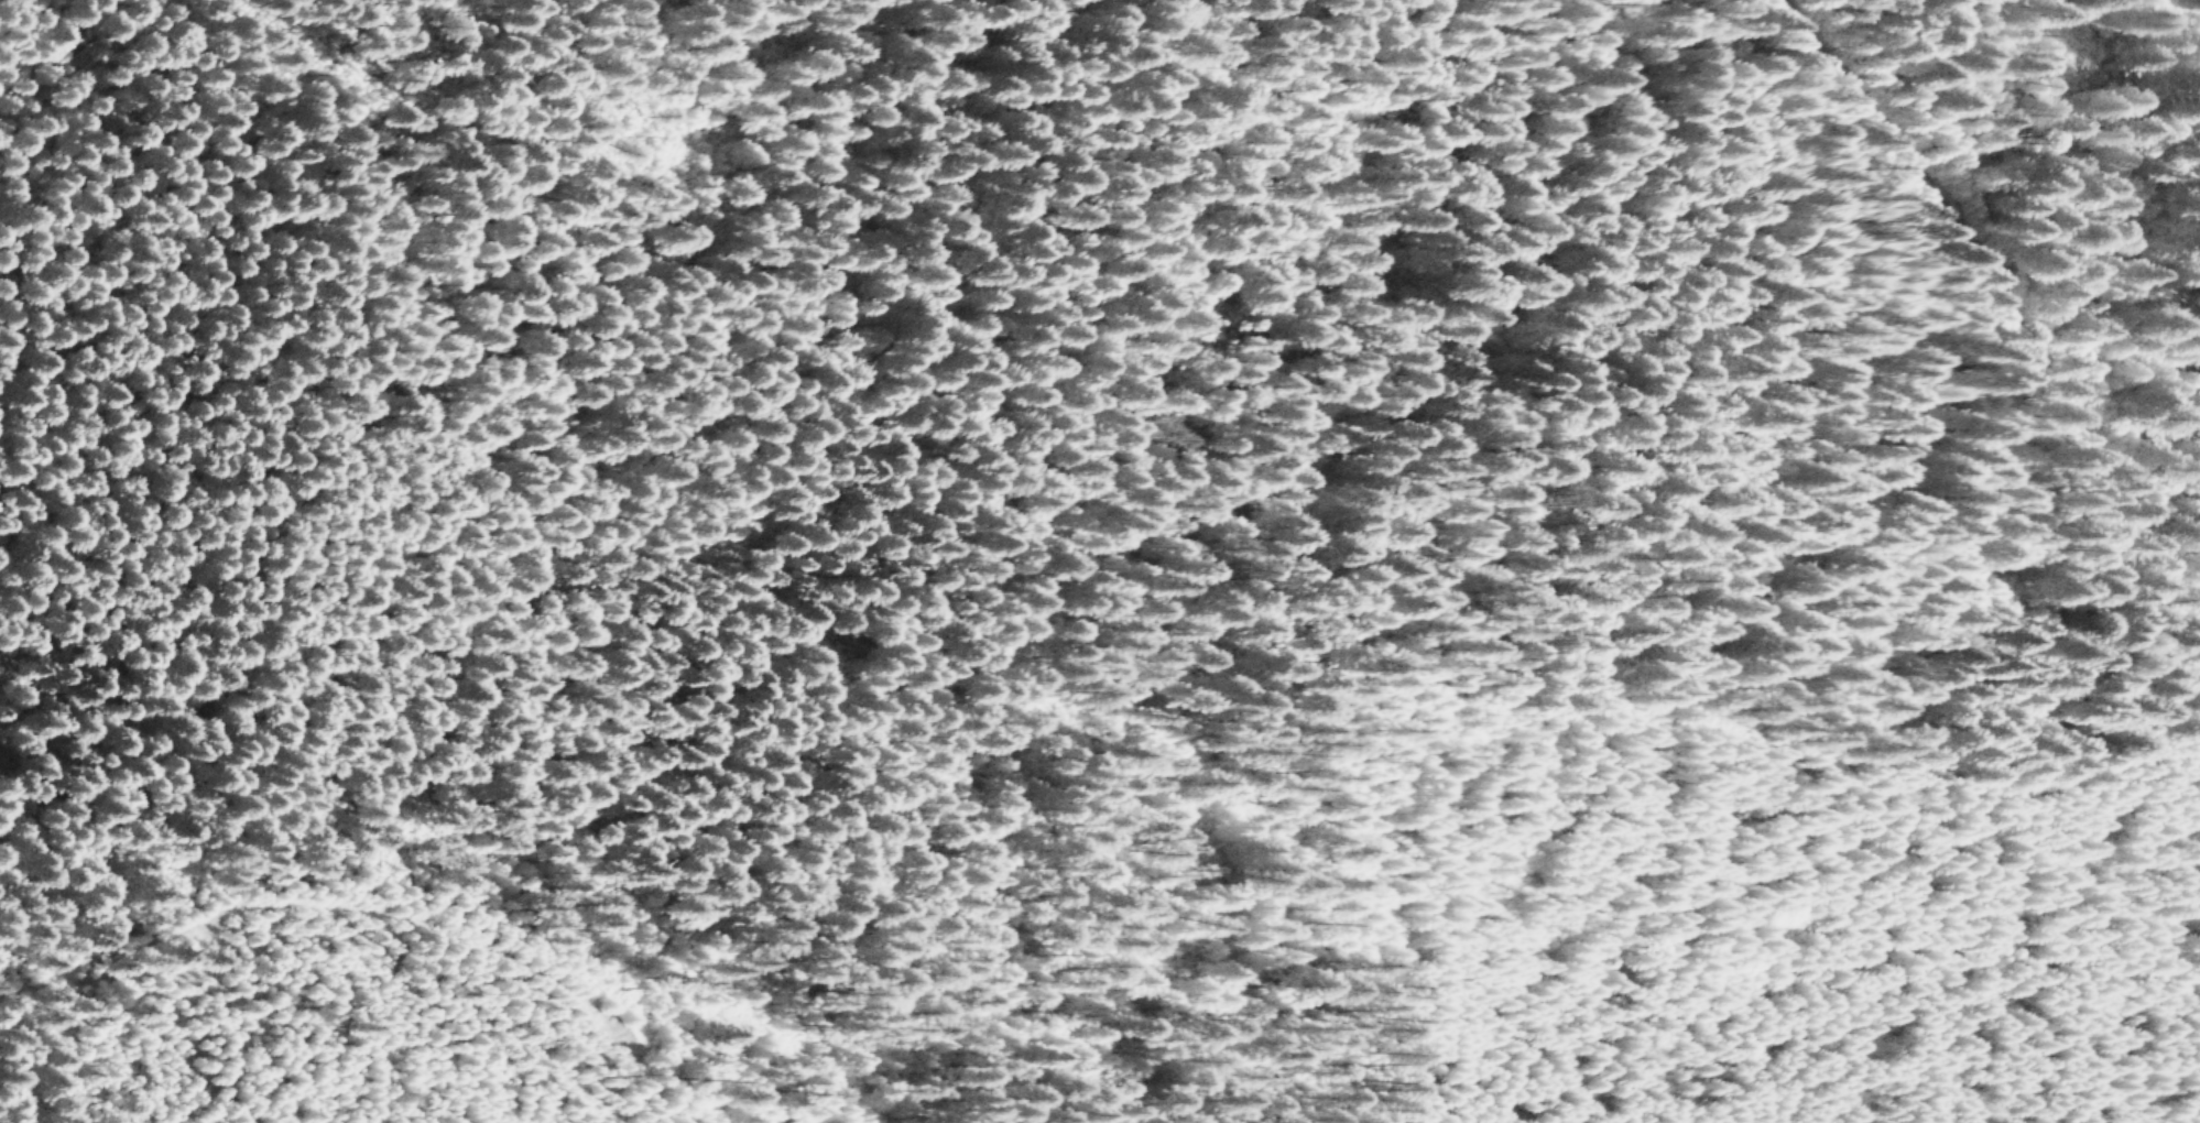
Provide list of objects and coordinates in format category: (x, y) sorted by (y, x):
road: (2015, 291)
road: (361, 906)

